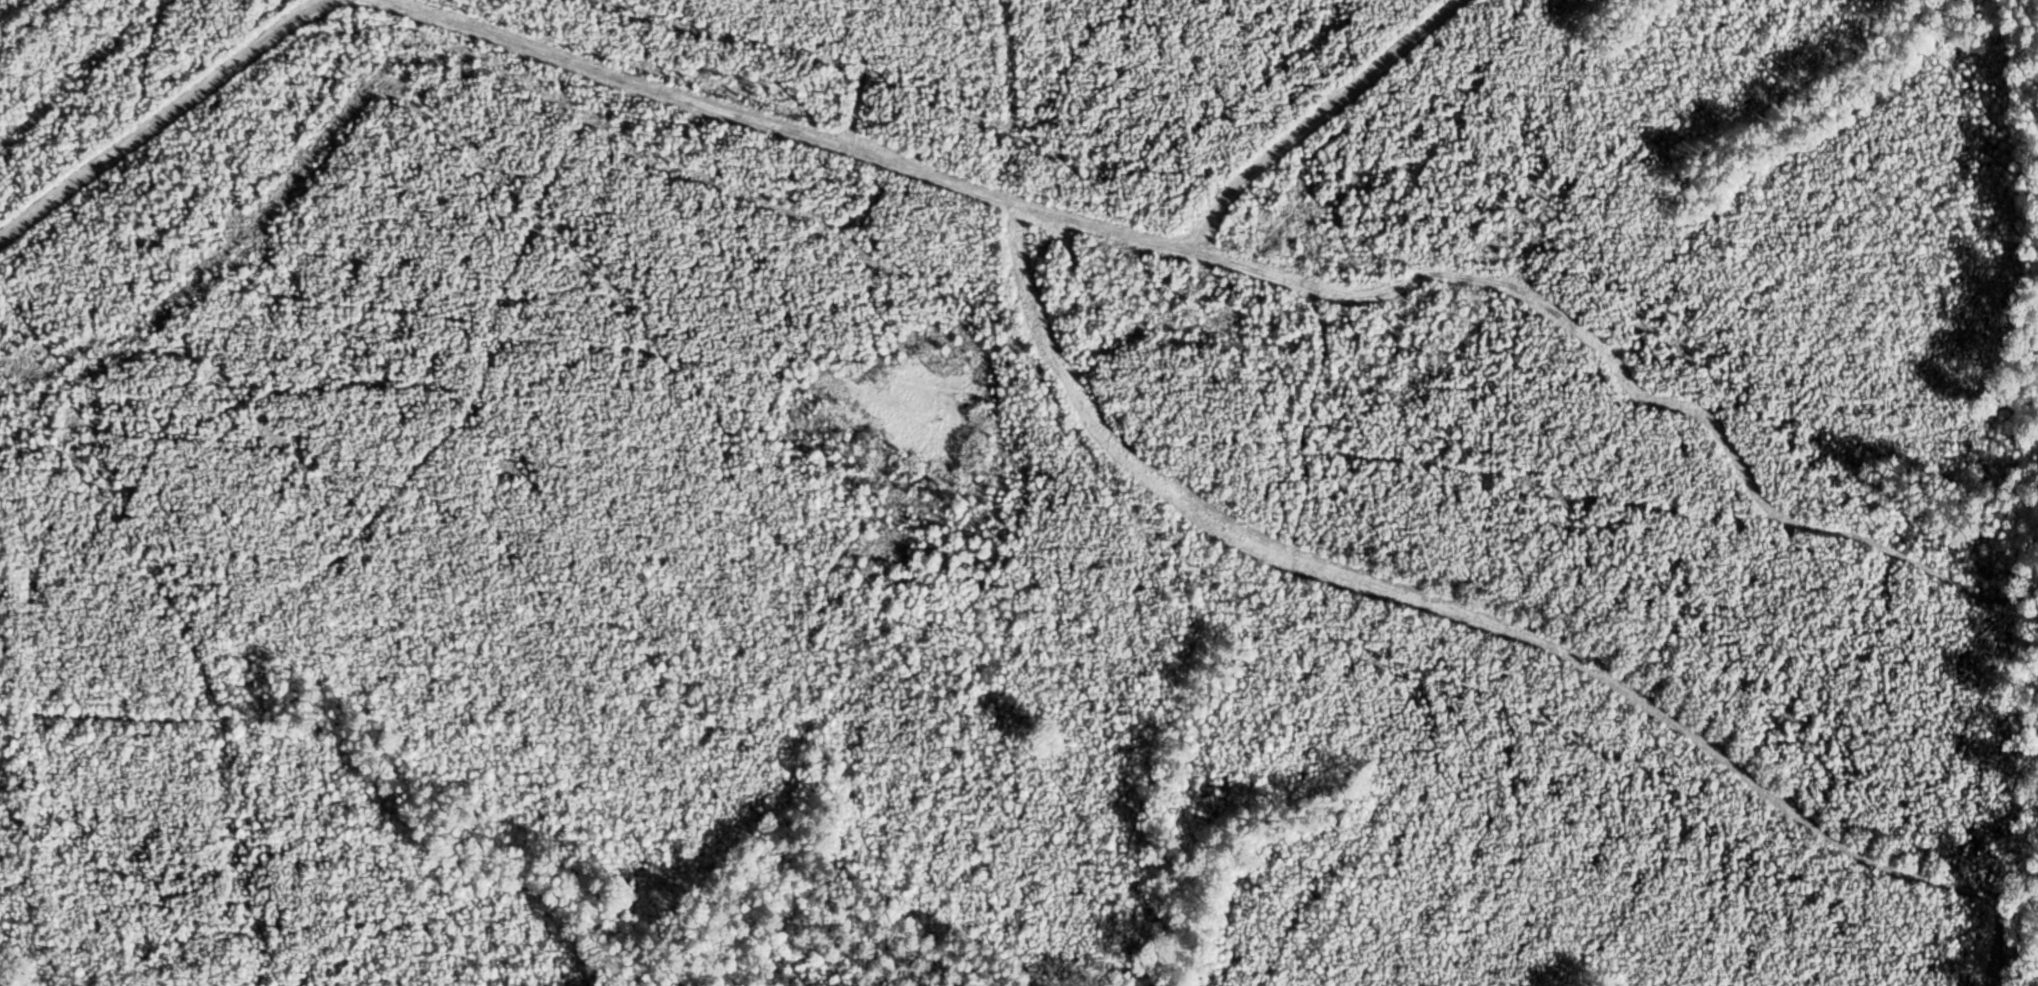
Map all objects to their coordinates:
park: (1019, 493)

